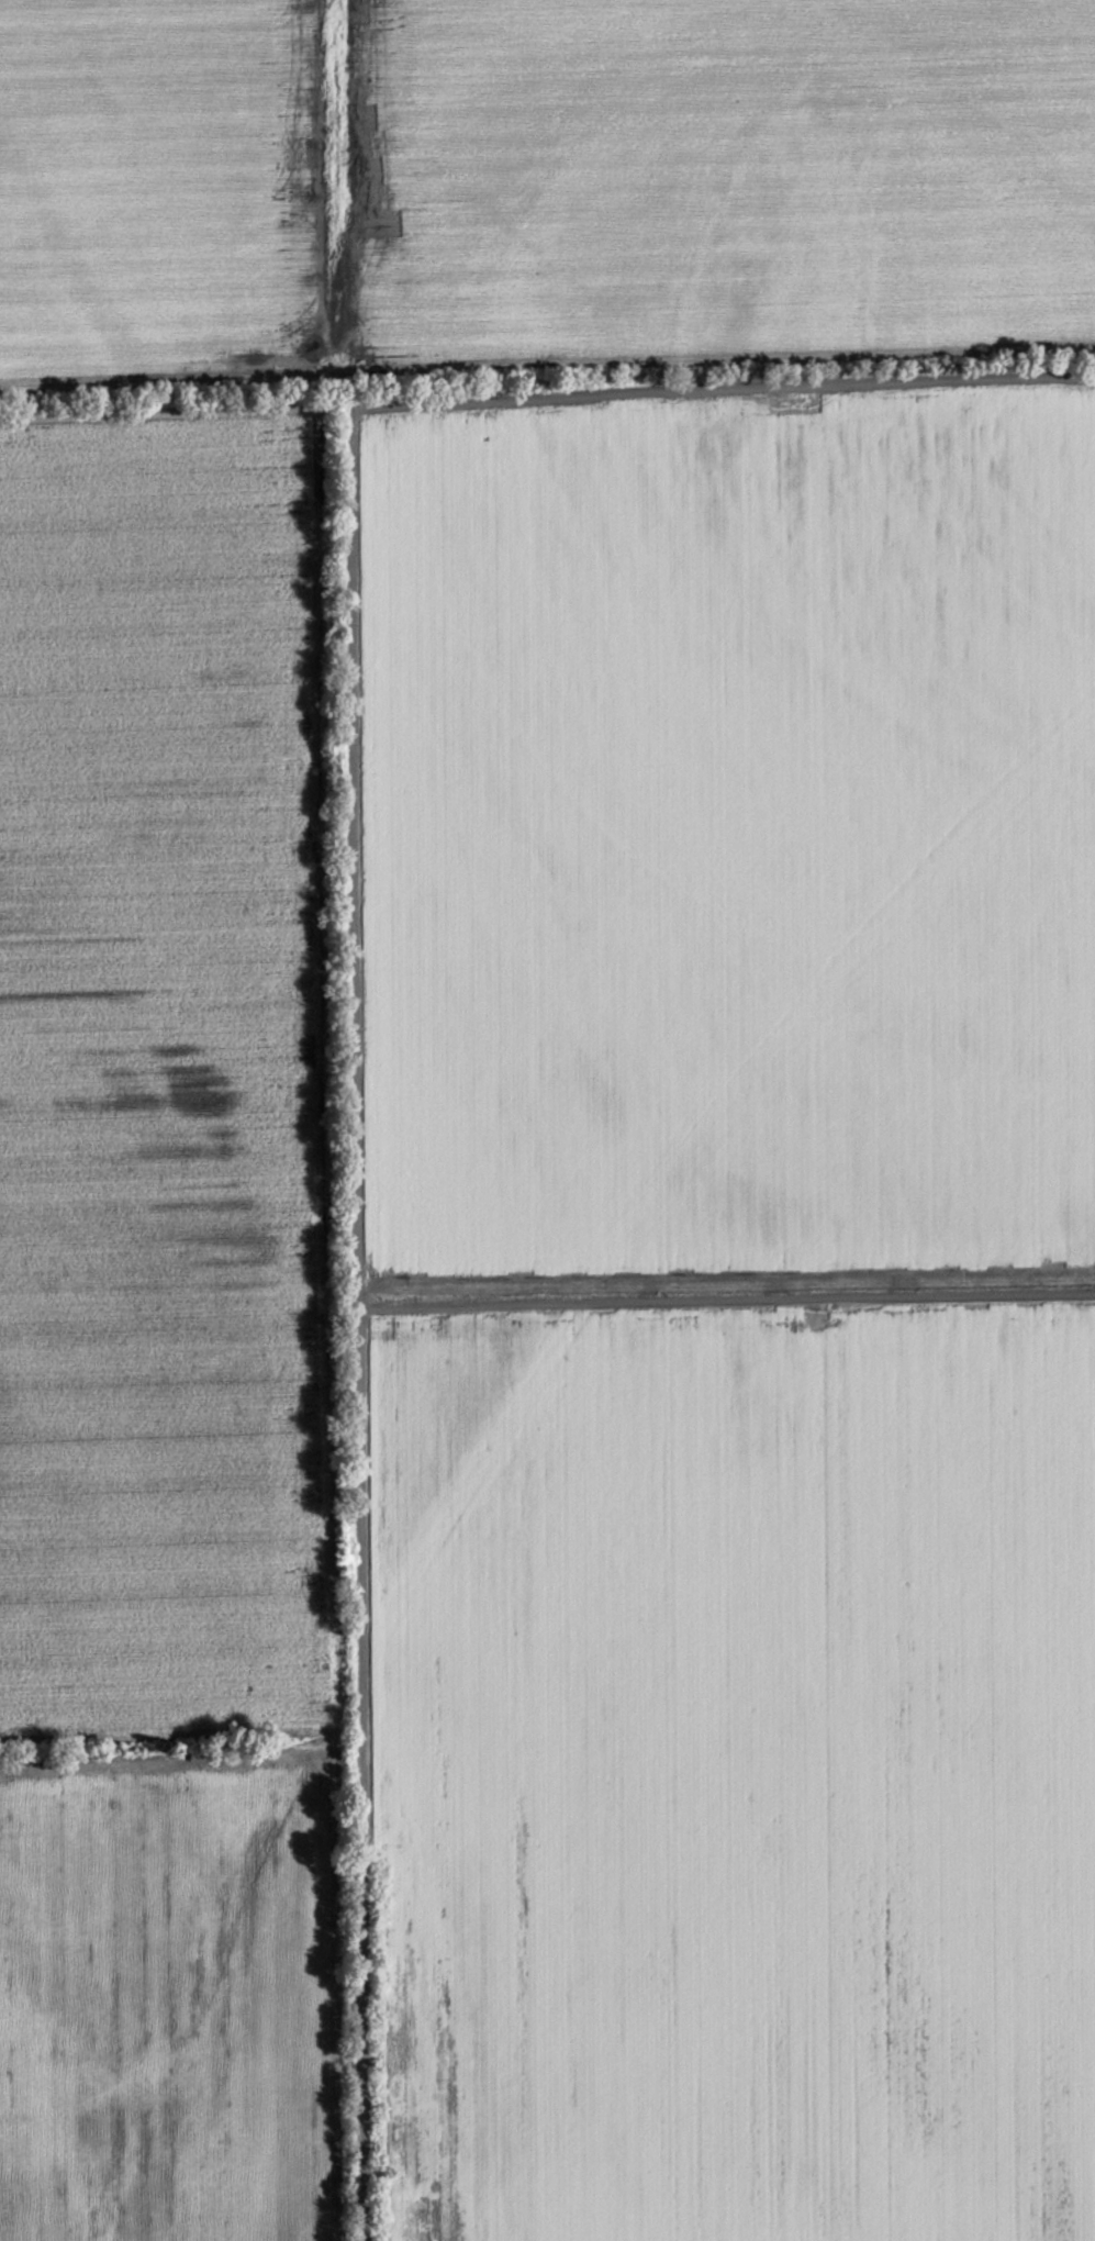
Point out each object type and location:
road: (360, 1810)

